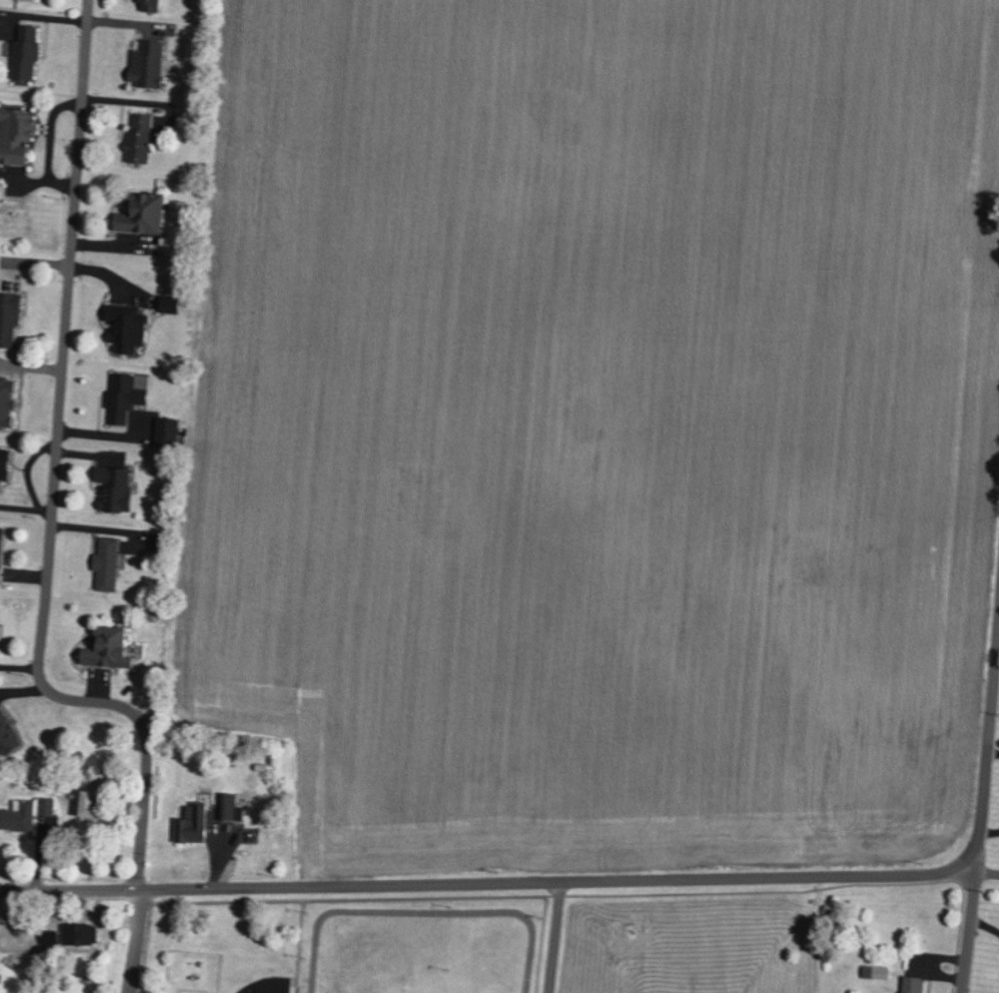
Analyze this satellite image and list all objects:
building: (150, 5)
building: (26, 52)
building: (148, 63)
building: (16, 135)
building: (140, 138)
building: (143, 214)
building: (171, 308)
building: (9, 317)
building: (127, 327)
building: (124, 398)
building: (7, 400)
building: (168, 432)
building: (4, 464)
building: (116, 488)
road: (50, 531)
building: (1, 551)
building: (108, 564)
building: (110, 648)
building: (9, 735)
road: (987, 760)
building: (95, 795)
building: (231, 807)
building: (26, 814)
building: (194, 825)
road: (987, 873)
road: (488, 883)
road: (969, 932)
road: (554, 937)
building: (877, 972)
building: (914, 984)

